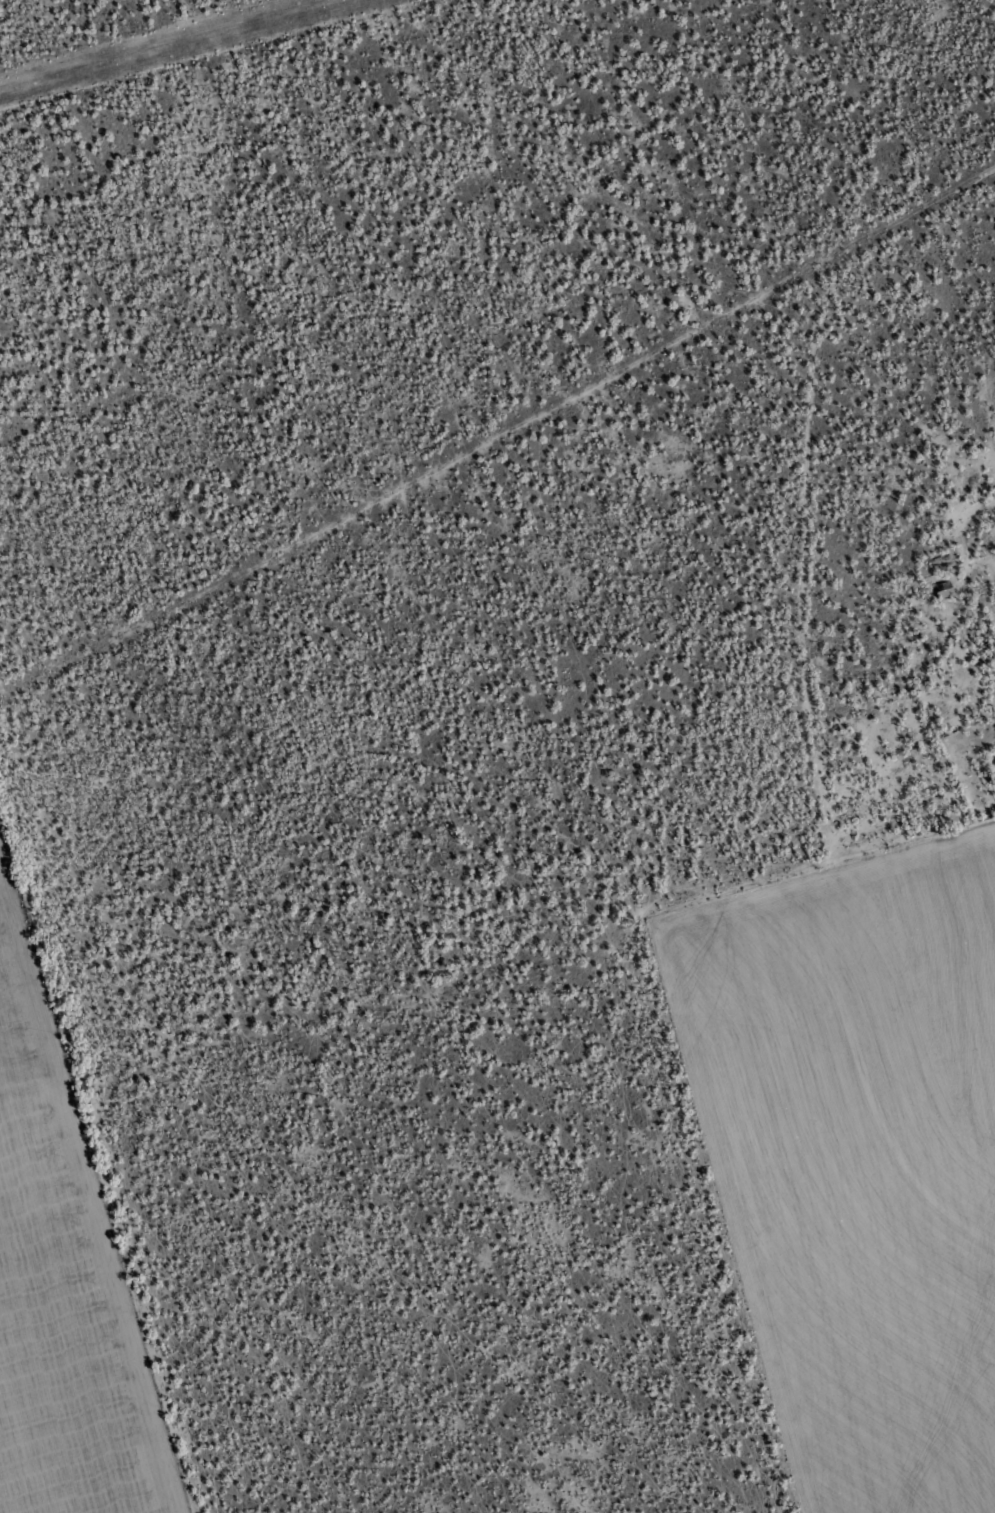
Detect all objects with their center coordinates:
building: (942, 588)
building: (992, 778)

